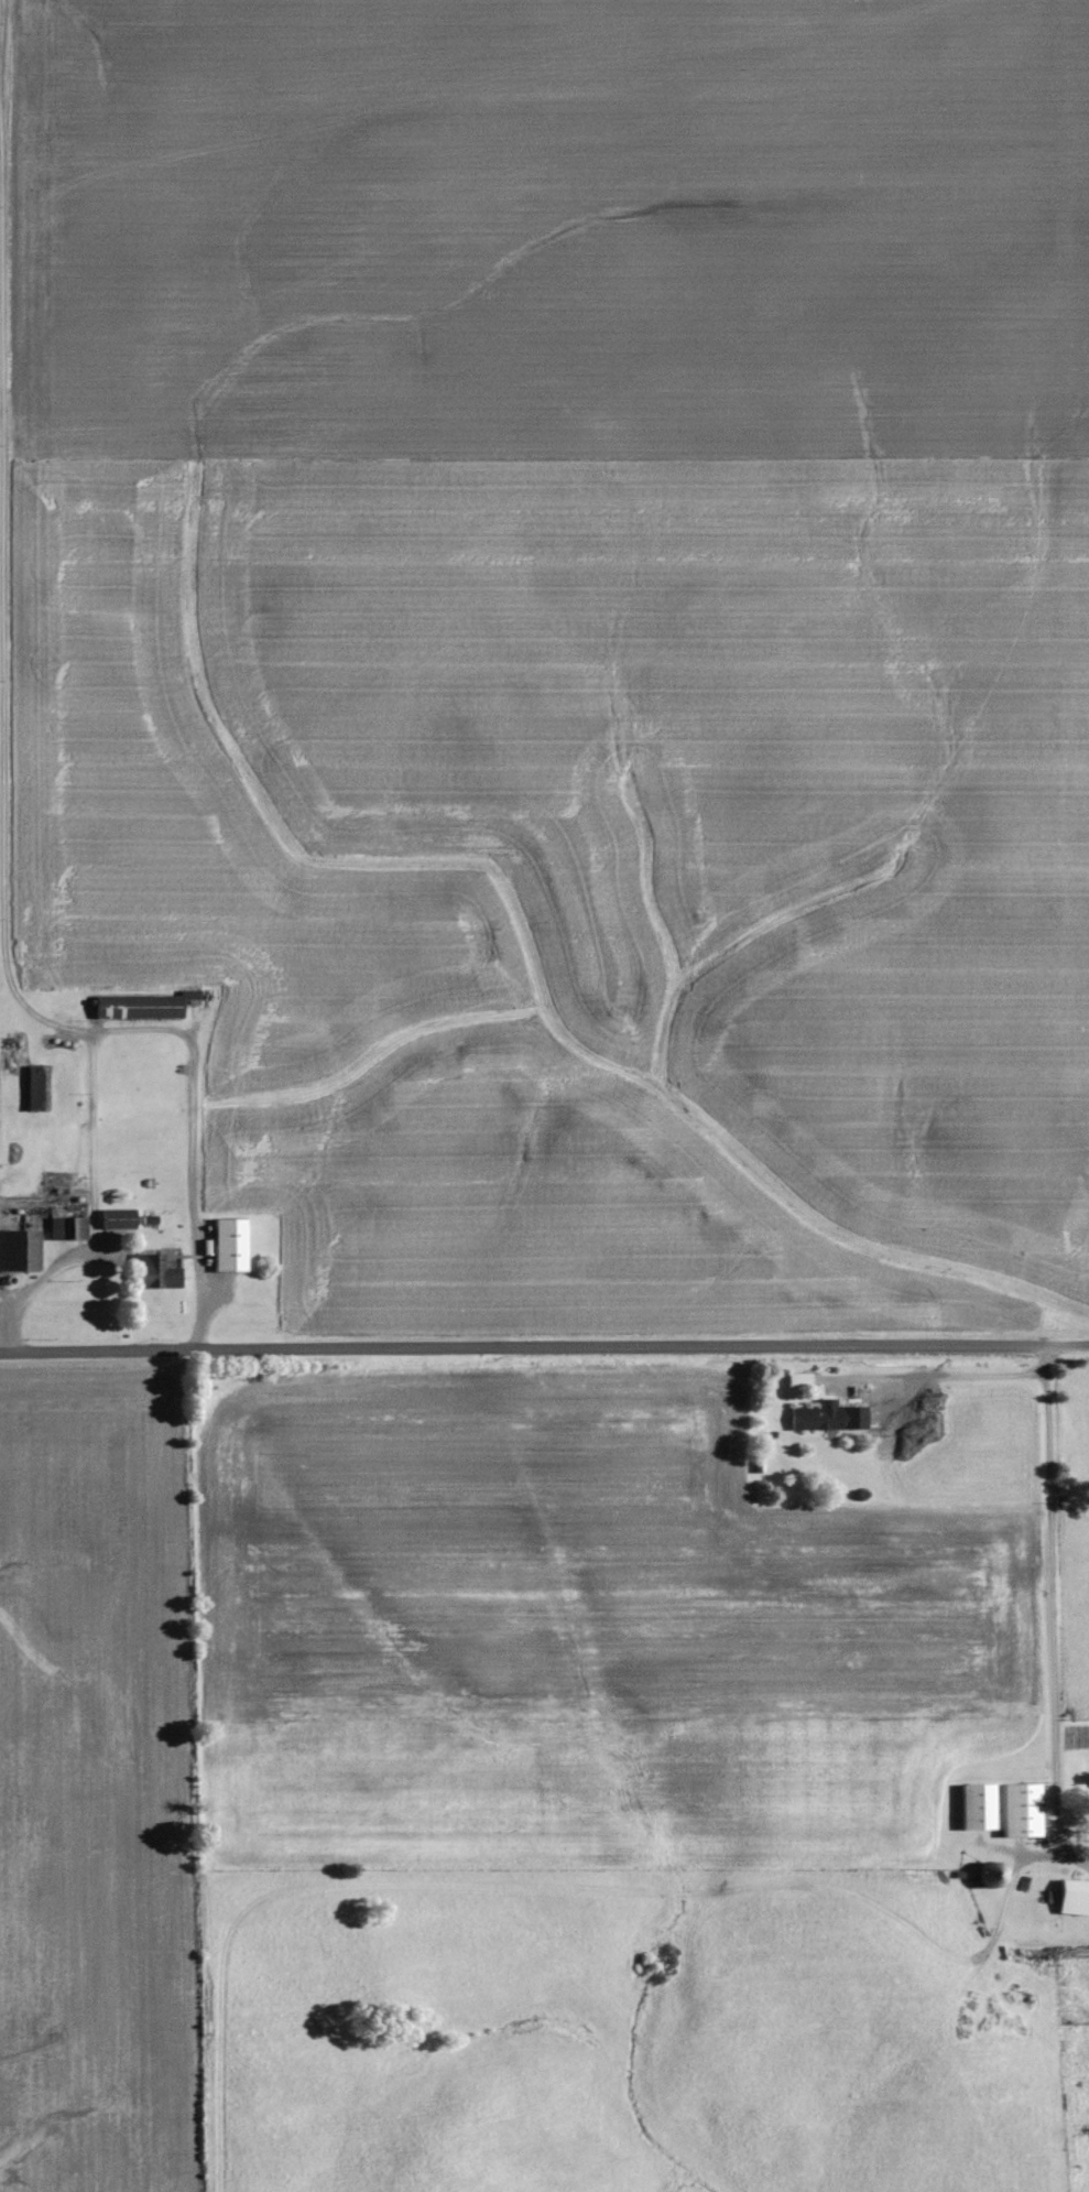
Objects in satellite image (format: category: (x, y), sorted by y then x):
building: (140, 1008)
building: (36, 1084)
building: (117, 1218)
building: (67, 1228)
building: (228, 1245)
building: (19, 1249)
building: (153, 1272)
road: (544, 1354)
building: (816, 1417)
road: (1056, 1619)
building: (976, 1806)
building: (1020, 1811)
building: (1074, 1898)

